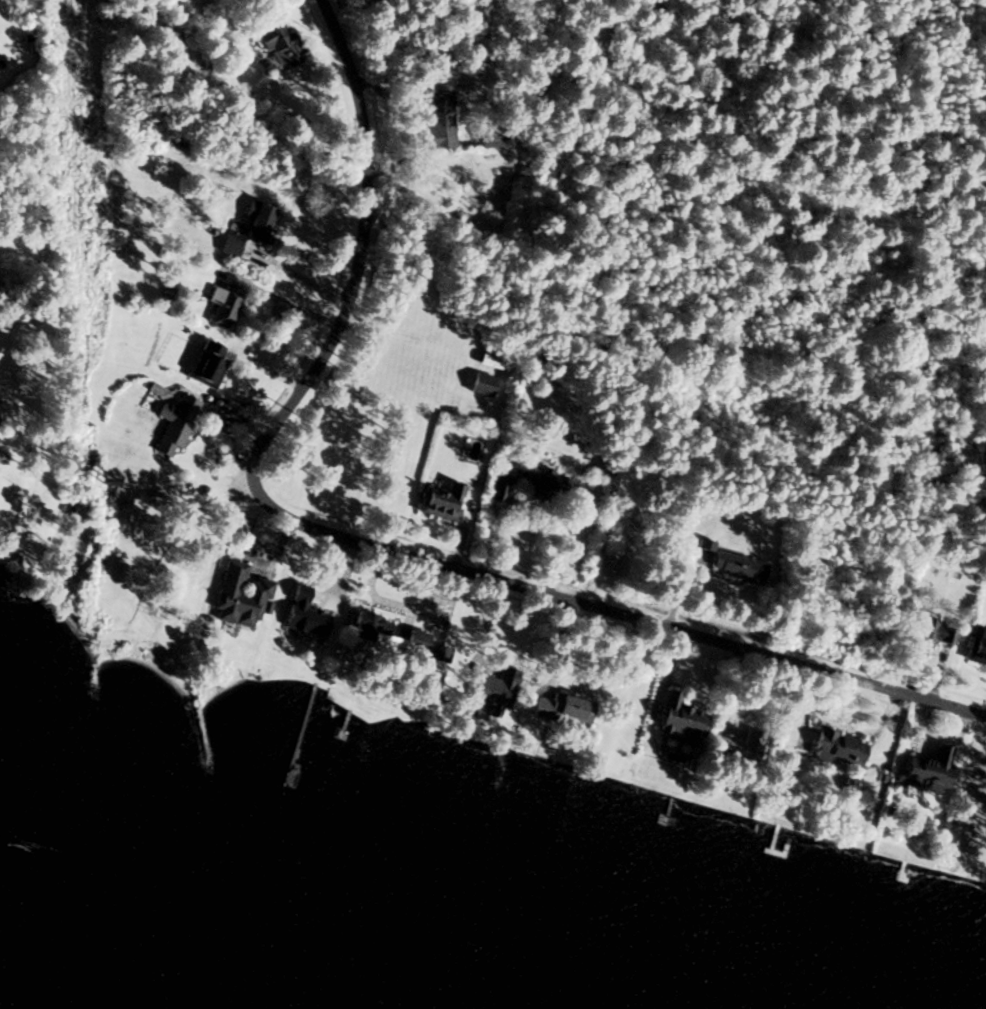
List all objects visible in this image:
power tower: (49, 6)
building: (274, 44)
building: (435, 119)
building: (248, 228)
power tower: (75, 229)
road: (358, 265)
building: (221, 305)
building: (488, 361)
building: (206, 363)
building: (480, 384)
road: (6, 401)
building: (173, 423)
road: (9, 445)
power tower: (101, 469)
building: (540, 484)
building: (497, 493)
building: (440, 501)
building: (737, 567)
building: (239, 596)
building: (302, 613)
road: (625, 616)
building: (927, 634)
building: (398, 636)
building: (975, 647)
building: (492, 689)
building: (567, 706)
building: (678, 720)
building: (735, 746)
building: (836, 747)
building: (923, 769)
power tower: (13, 845)

